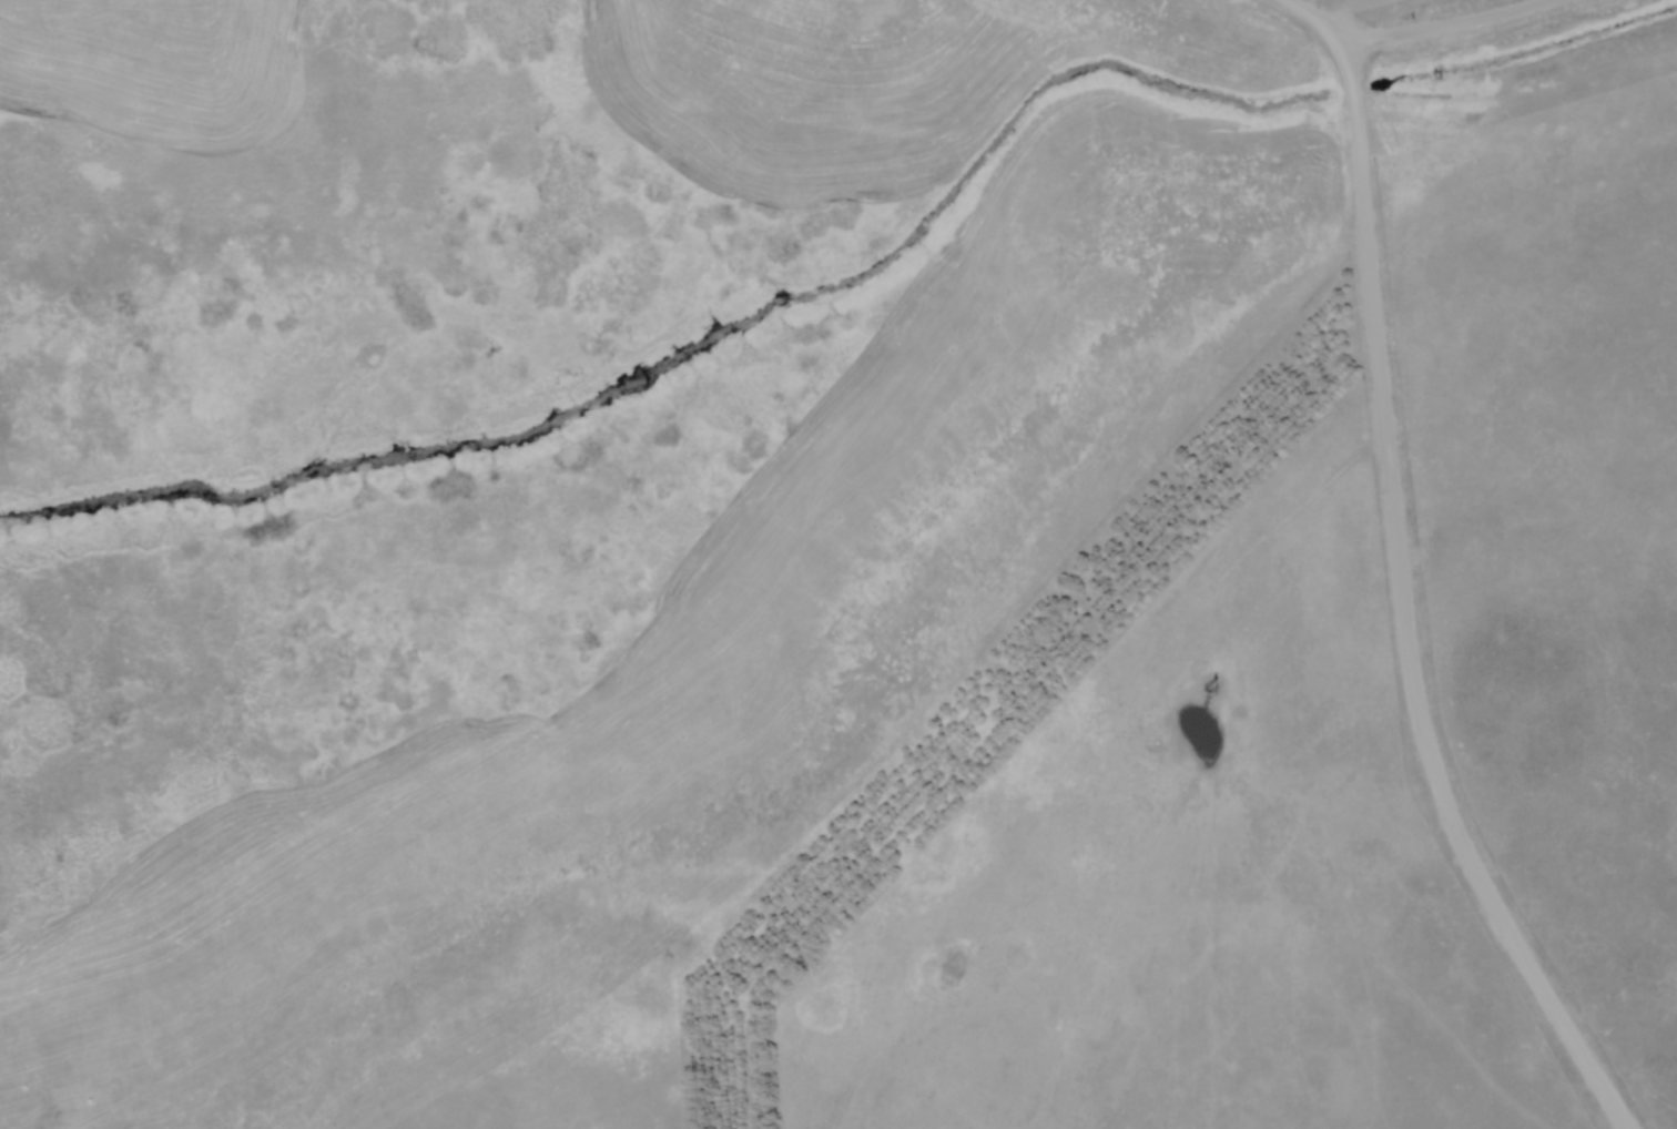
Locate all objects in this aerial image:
road: (1439, 24)
road: (1400, 572)

